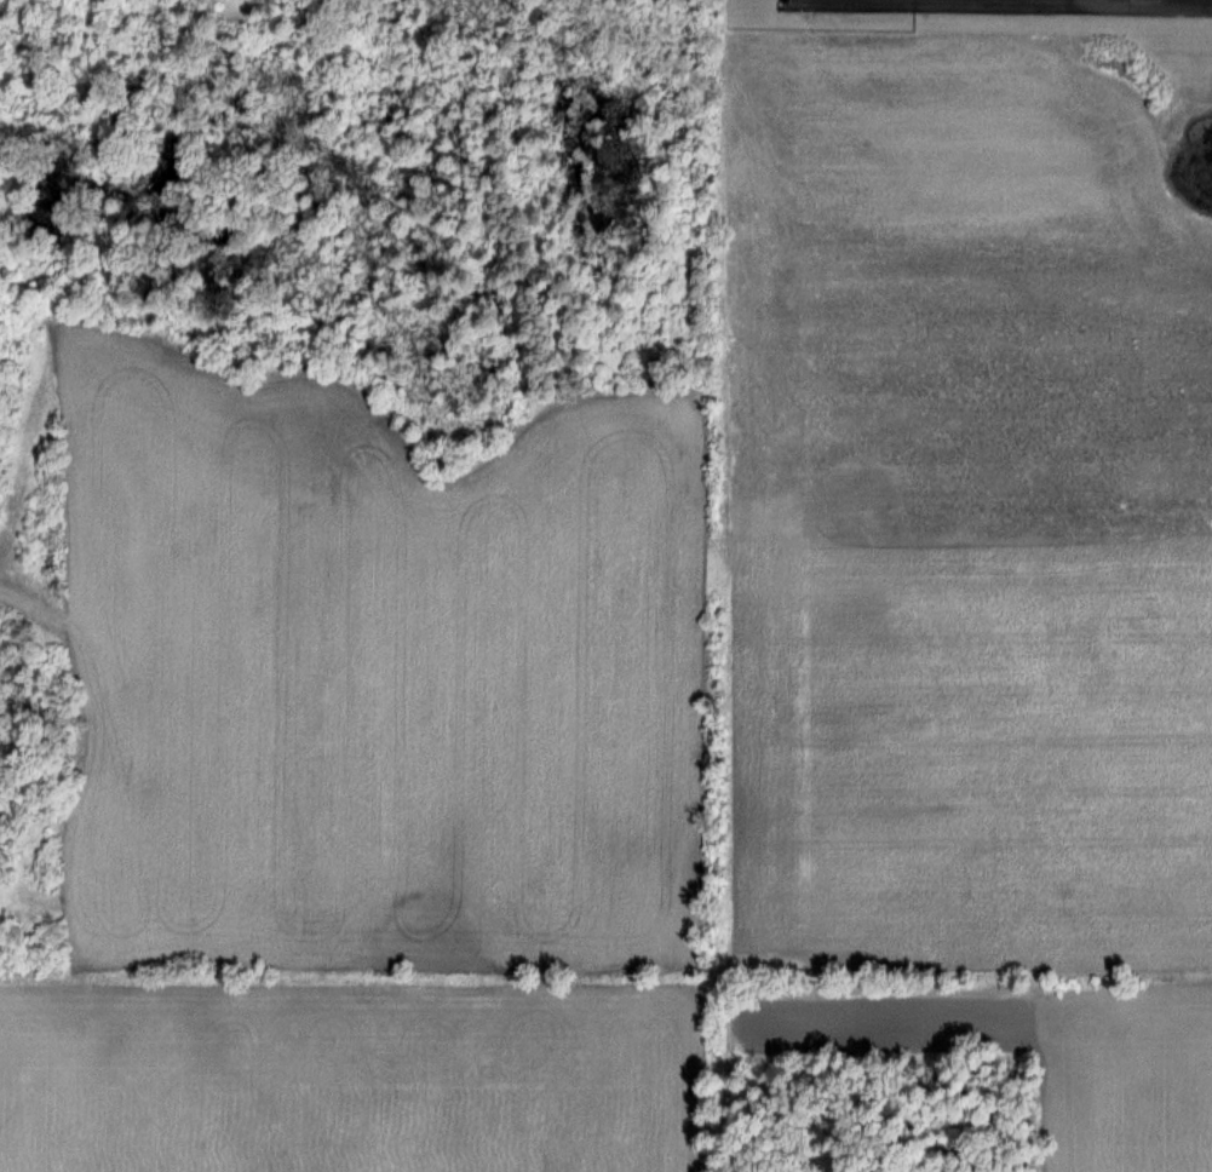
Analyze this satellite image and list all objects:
road: (521, 8)
park: (364, 16)
building: (12, 915)

